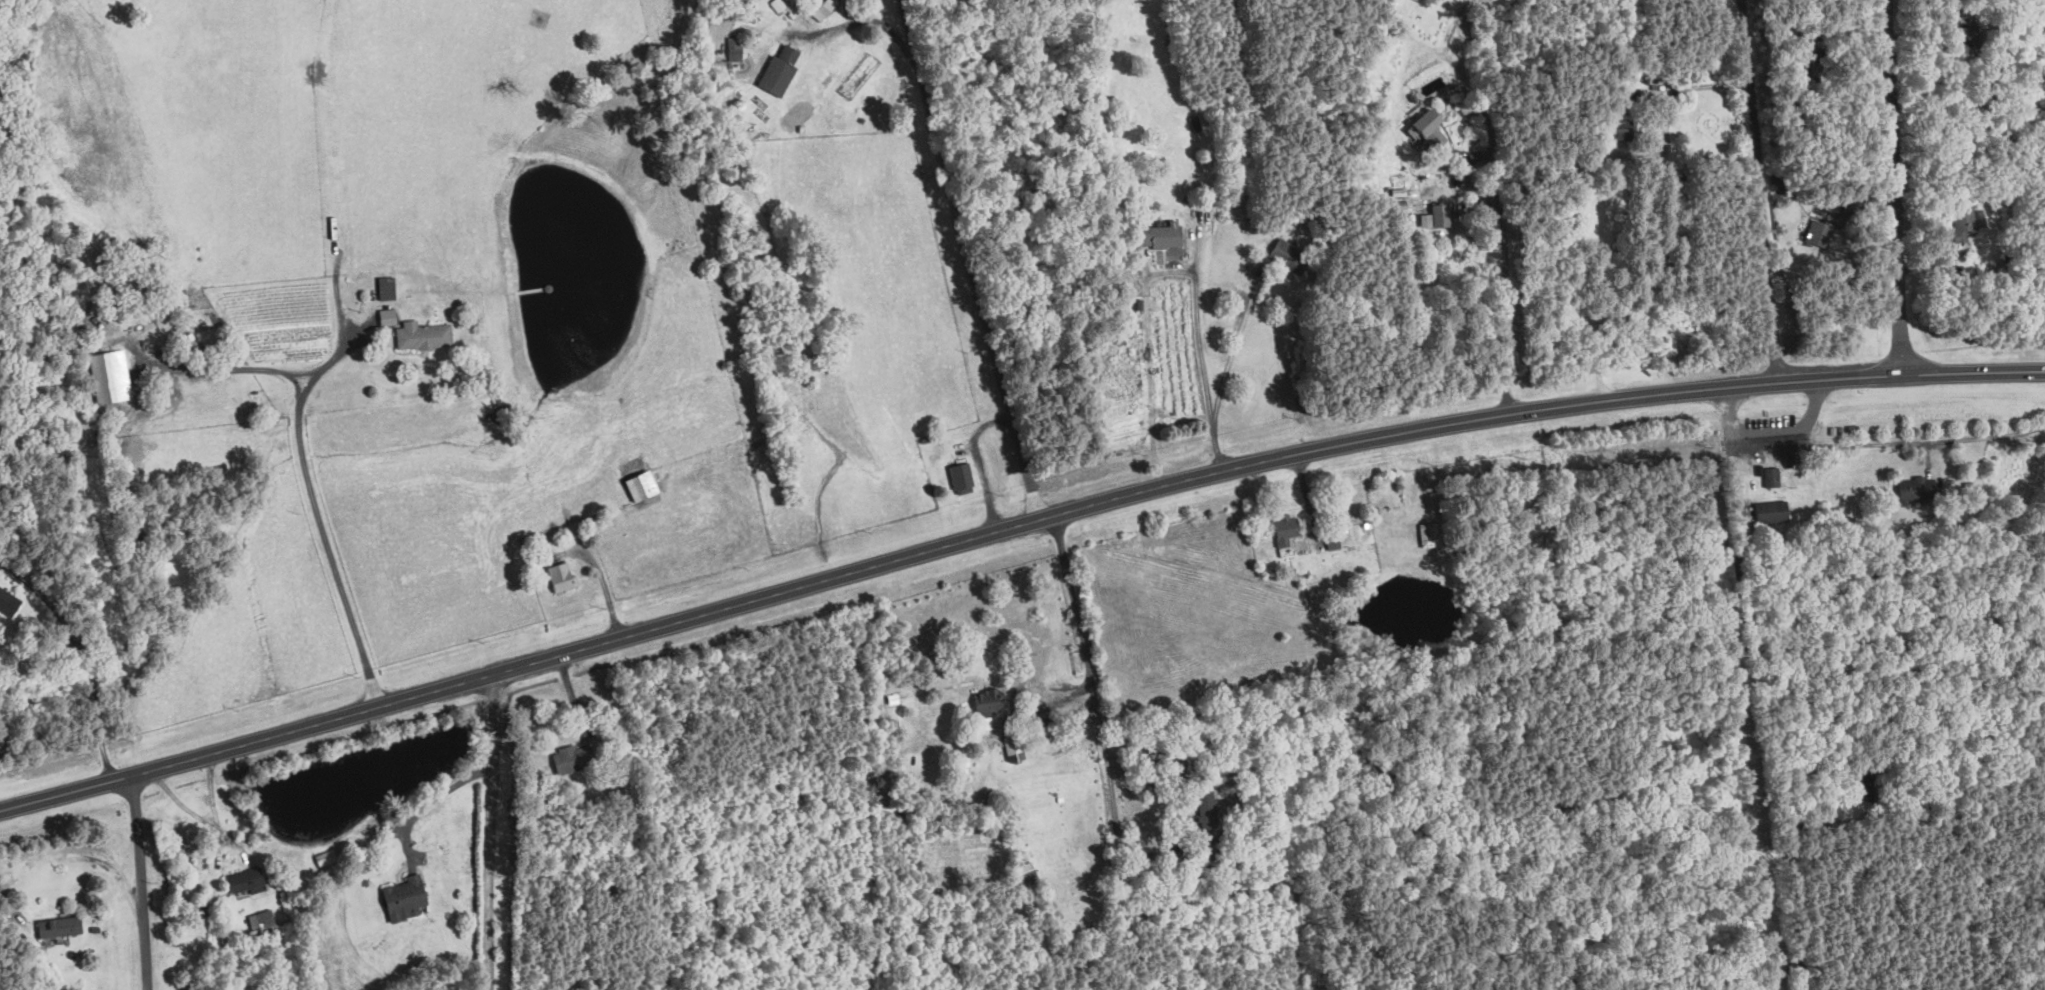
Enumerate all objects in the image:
building: (776, 3)
building: (822, 7)
building: (733, 48)
building: (781, 71)
building: (1430, 127)
road: (1894, 187)
road: (1756, 191)
building: (1439, 215)
building: (1165, 234)
road: (1504, 242)
road: (969, 260)
road: (1569, 279)
building: (389, 287)
building: (386, 317)
building: (425, 334)
road: (346, 345)
road: (1234, 347)
road: (1202, 360)
road: (229, 367)
building: (110, 376)
road: (1815, 406)
road: (1768, 433)
building: (923, 438)
road: (1922, 443)
building: (962, 475)
building: (1771, 476)
building: (644, 484)
building: (1918, 489)
building: (1770, 511)
road: (1011, 527)
building: (1284, 528)
building: (1431, 534)
building: (1332, 542)
road: (328, 543)
building: (563, 576)
road: (40, 598)
building: (9, 601)
road: (1755, 688)
building: (891, 698)
building: (986, 706)
road: (97, 708)
building: (893, 723)
building: (1047, 728)
building: (1012, 745)
building: (571, 758)
road: (1045, 761)
road: (1108, 782)
building: (1863, 787)
building: (1060, 799)
road: (432, 804)
building: (1205, 809)
road: (210, 824)
road: (1826, 826)
road: (493, 831)
building: (1243, 831)
building: (1214, 839)
building: (1256, 851)
building: (1026, 875)
building: (245, 880)
road: (141, 882)
building: (403, 898)
road: (9, 905)
building: (262, 920)
building: (58, 926)
building: (95, 929)
building: (178, 941)
building: (67, 988)

